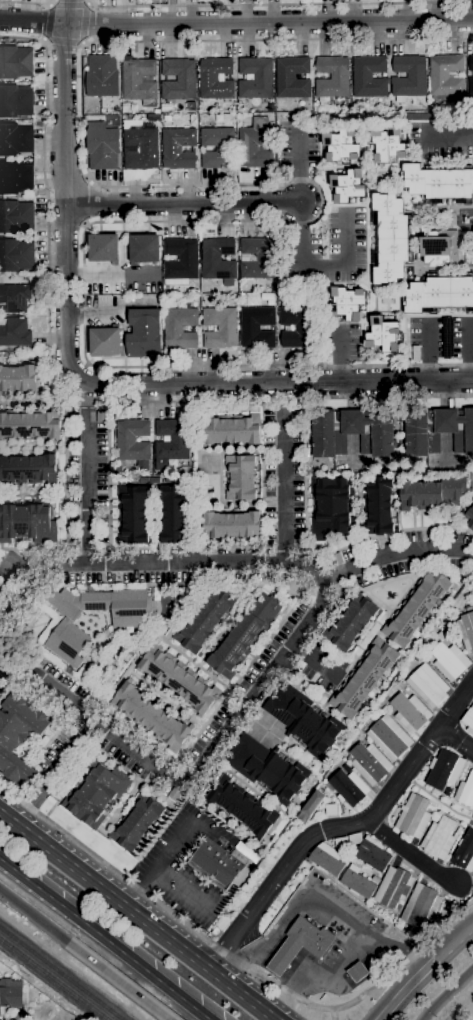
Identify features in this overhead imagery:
road: (25, 3)
road: (270, 3)
road: (85, 22)
road: (236, 23)
road: (62, 41)
building: (15, 62)
building: (471, 62)
building: (102, 76)
building: (332, 76)
building: (369, 76)
building: (409, 76)
building: (255, 77)
building: (292, 77)
building: (446, 77)
building: (216, 78)
building: (139, 79)
building: (179, 79)
building: (470, 86)
building: (15, 100)
building: (95, 122)
road: (449, 135)
building: (15, 139)
building: (388, 144)
building: (341, 145)
building: (103, 147)
building: (218, 147)
building: (255, 147)
building: (140, 148)
building: (178, 148)
road: (298, 163)
building: (16, 178)
building: (438, 182)
building: (348, 185)
road: (322, 202)
road: (183, 203)
building: (16, 217)
building: (391, 237)
building: (439, 245)
building: (104, 248)
building: (144, 248)
building: (16, 255)
building: (258, 258)
building: (181, 259)
building: (218, 259)
road: (320, 265)
building: (174, 281)
building: (439, 293)
building: (14, 298)
building: (347, 302)
building: (257, 326)
building: (298, 326)
building: (180, 327)
building: (220, 327)
building: (143, 331)
building: (15, 332)
building: (383, 334)
building: (104, 340)
building: (19, 378)
road: (84, 383)
road: (70, 392)
road: (87, 404)
building: (101, 417)
building: (31, 423)
building: (231, 429)
building: (437, 430)
building: (352, 431)
building: (171, 441)
building: (133, 442)
building: (28, 469)
building: (184, 469)
building: (240, 477)
building: (154, 479)
building: (144, 480)
road: (282, 485)
building: (432, 493)
road: (87, 494)
building: (378, 505)
building: (331, 507)
building: (133, 514)
building: (175, 514)
building: (468, 515)
building: (27, 520)
building: (232, 525)
road: (395, 555)
building: (336, 558)
road: (126, 562)
building: (0, 588)
building: (416, 607)
building: (204, 619)
building: (350, 622)
building: (67, 628)
building: (466, 629)
building: (245, 634)
building: (416, 656)
road: (2, 660)
road: (314, 660)
building: (449, 661)
building: (179, 678)
building: (364, 678)
building: (396, 681)
building: (427, 685)
building: (24, 686)
building: (381, 711)
building: (410, 711)
building: (151, 716)
building: (302, 719)
building: (468, 719)
road: (257, 723)
building: (18, 735)
building: (389, 737)
road: (455, 738)
road: (208, 756)
building: (369, 762)
building: (266, 768)
building: (445, 769)
road: (45, 784)
building: (349, 787)
building: (465, 791)
building: (96, 793)
building: (173, 794)
building: (332, 798)
building: (242, 805)
building: (310, 806)
building: (430, 807)
building: (330, 809)
building: (413, 816)
building: (136, 822)
road: (341, 825)
building: (439, 837)
building: (341, 842)
building: (369, 852)
building: (464, 852)
road: (408, 855)
building: (326, 859)
building: (221, 863)
road: (160, 864)
building: (375, 879)
building: (357, 882)
building: (393, 887)
road: (186, 890)
road: (317, 894)
building: (420, 905)
road: (161, 906)
road: (139, 914)
road: (35, 916)
road: (104, 939)
road: (456, 943)
building: (300, 944)
gas station: (300, 944)
road: (261, 955)
road: (404, 961)
road: (277, 965)
building: (357, 971)
railway: (60, 974)
road: (323, 974)
road: (291, 977)
railway: (54, 979)
road: (121, 982)
road: (408, 989)
building: (14, 993)
road: (445, 993)
building: (0, 1013)
road: (332, 1015)

